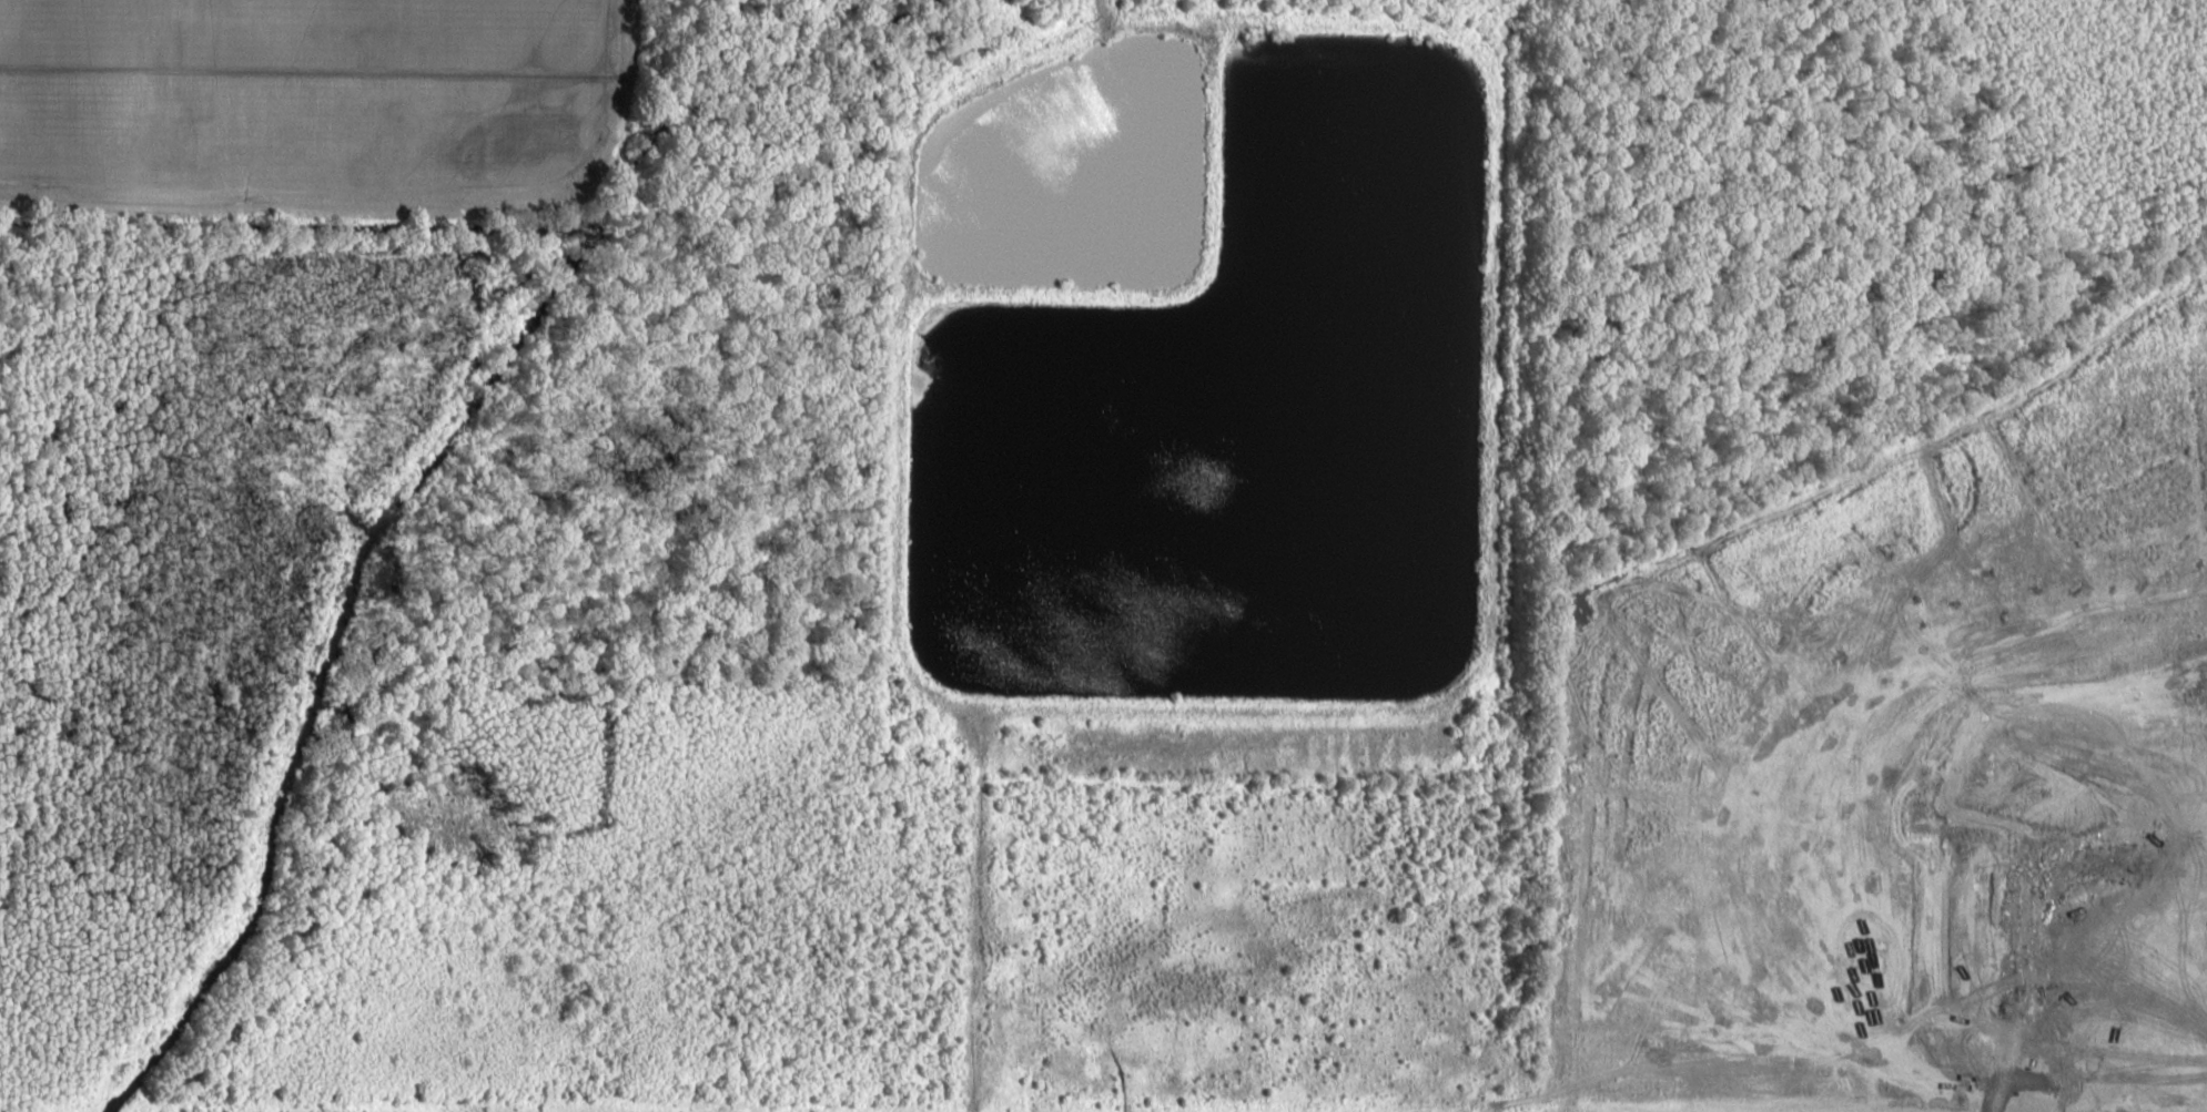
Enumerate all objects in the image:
road: (1175, 293)
road: (891, 350)

